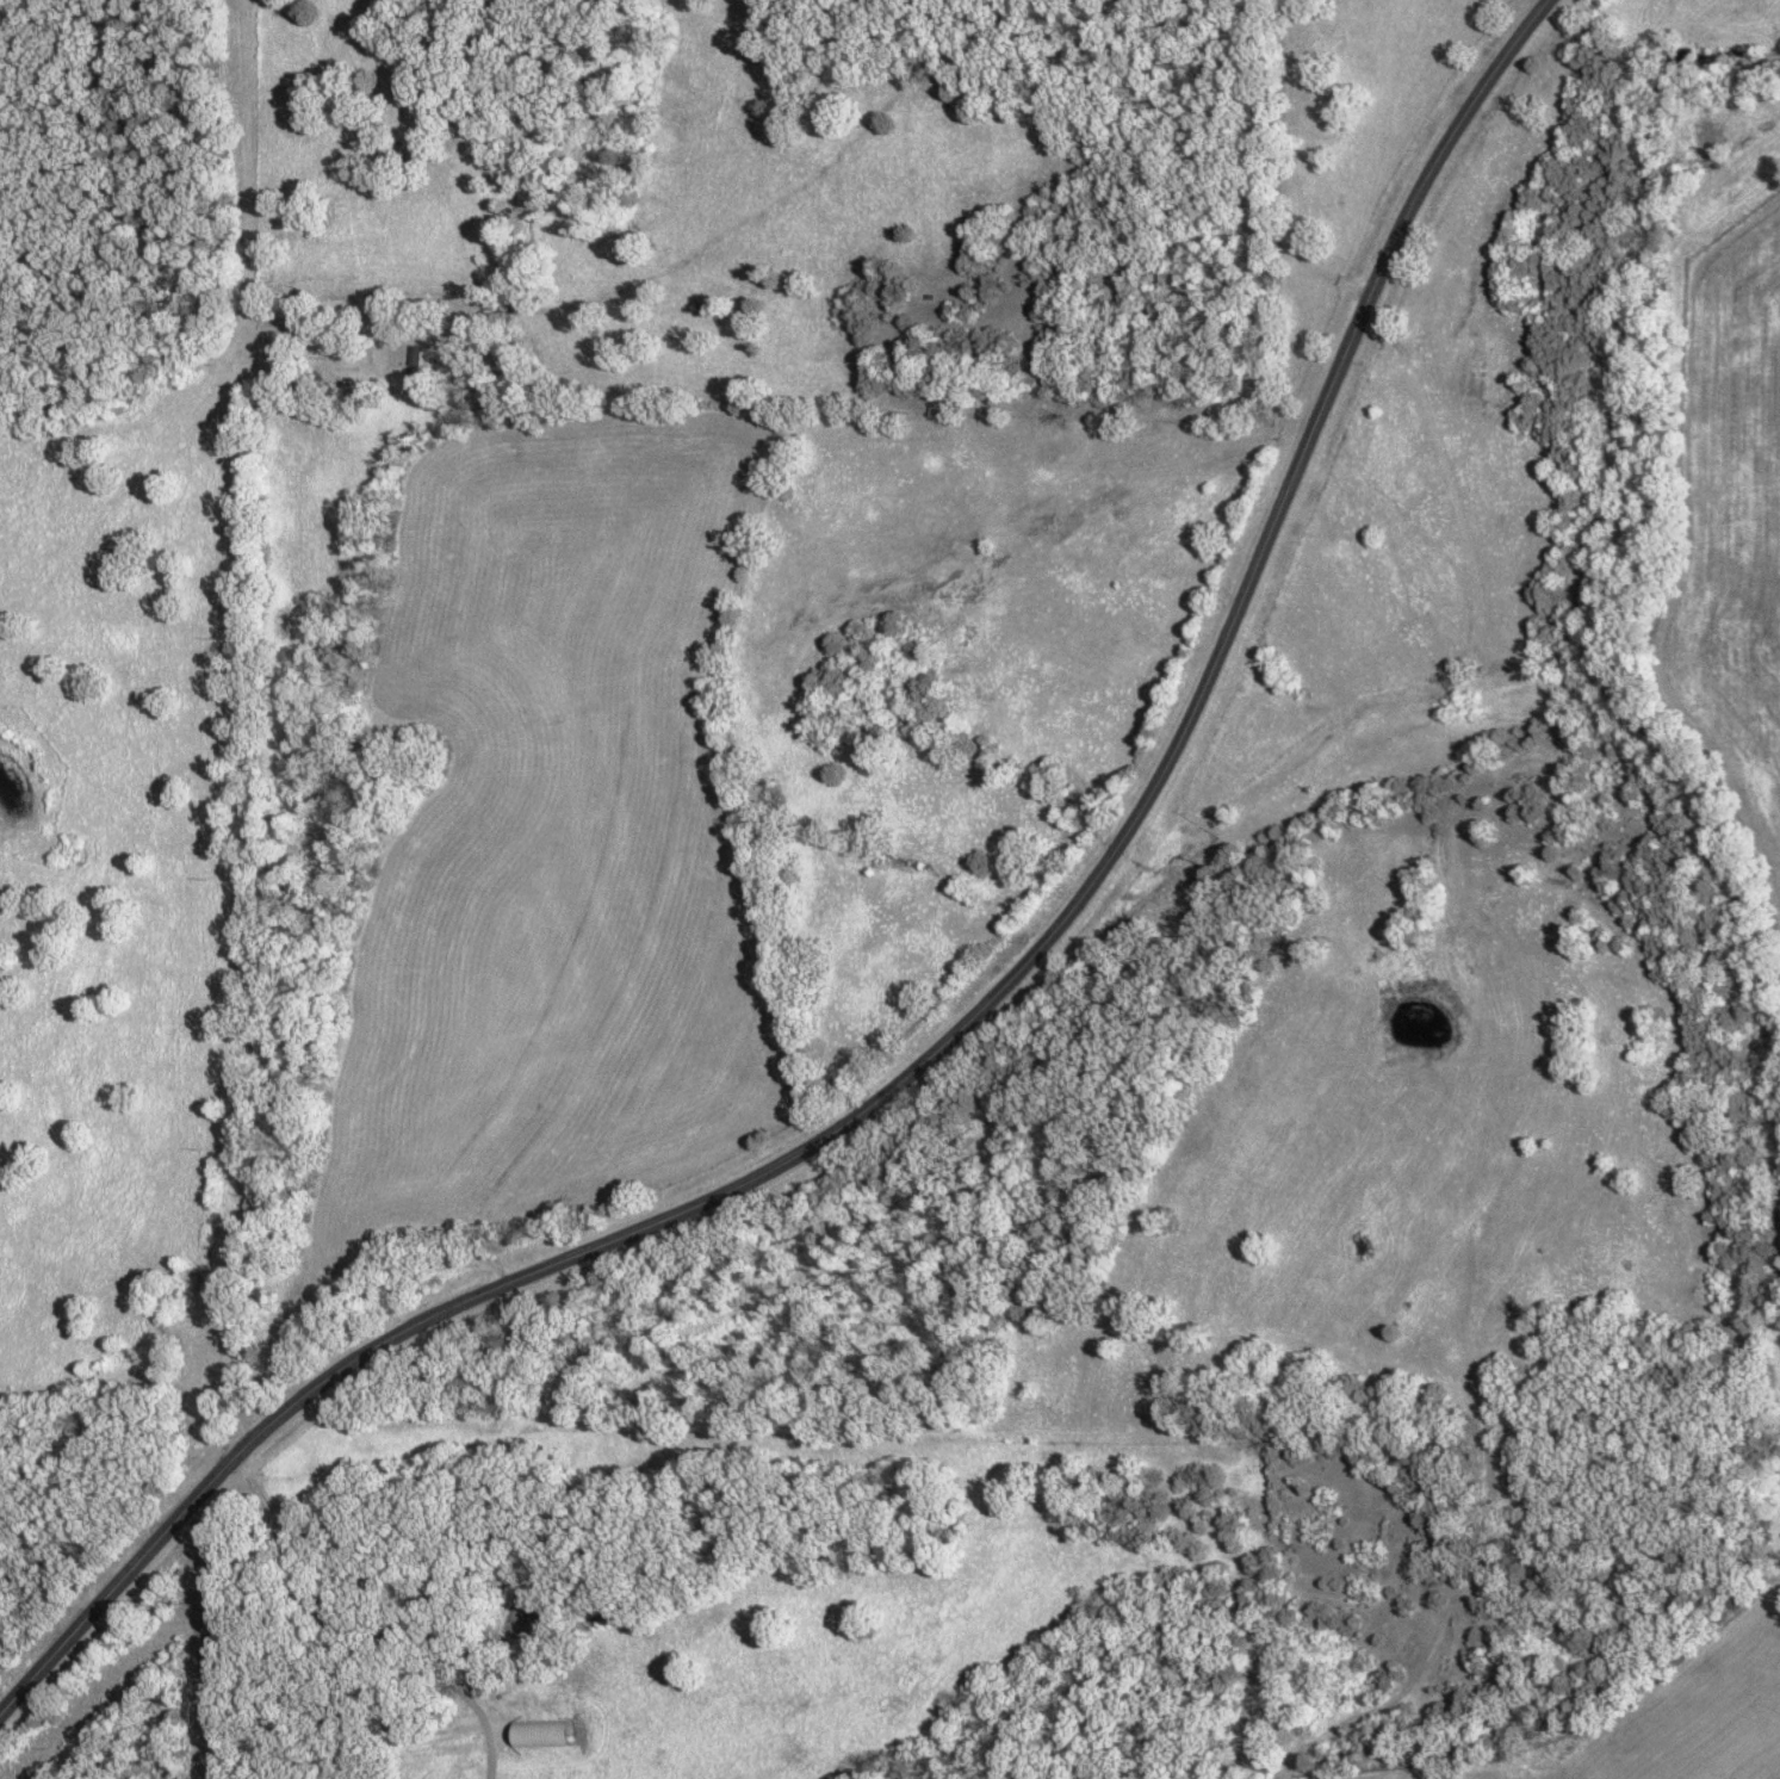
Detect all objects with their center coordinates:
road: (247, 725)
road: (961, 1034)
road: (118, 1402)
road: (367, 1629)
building: (414, 1742)

